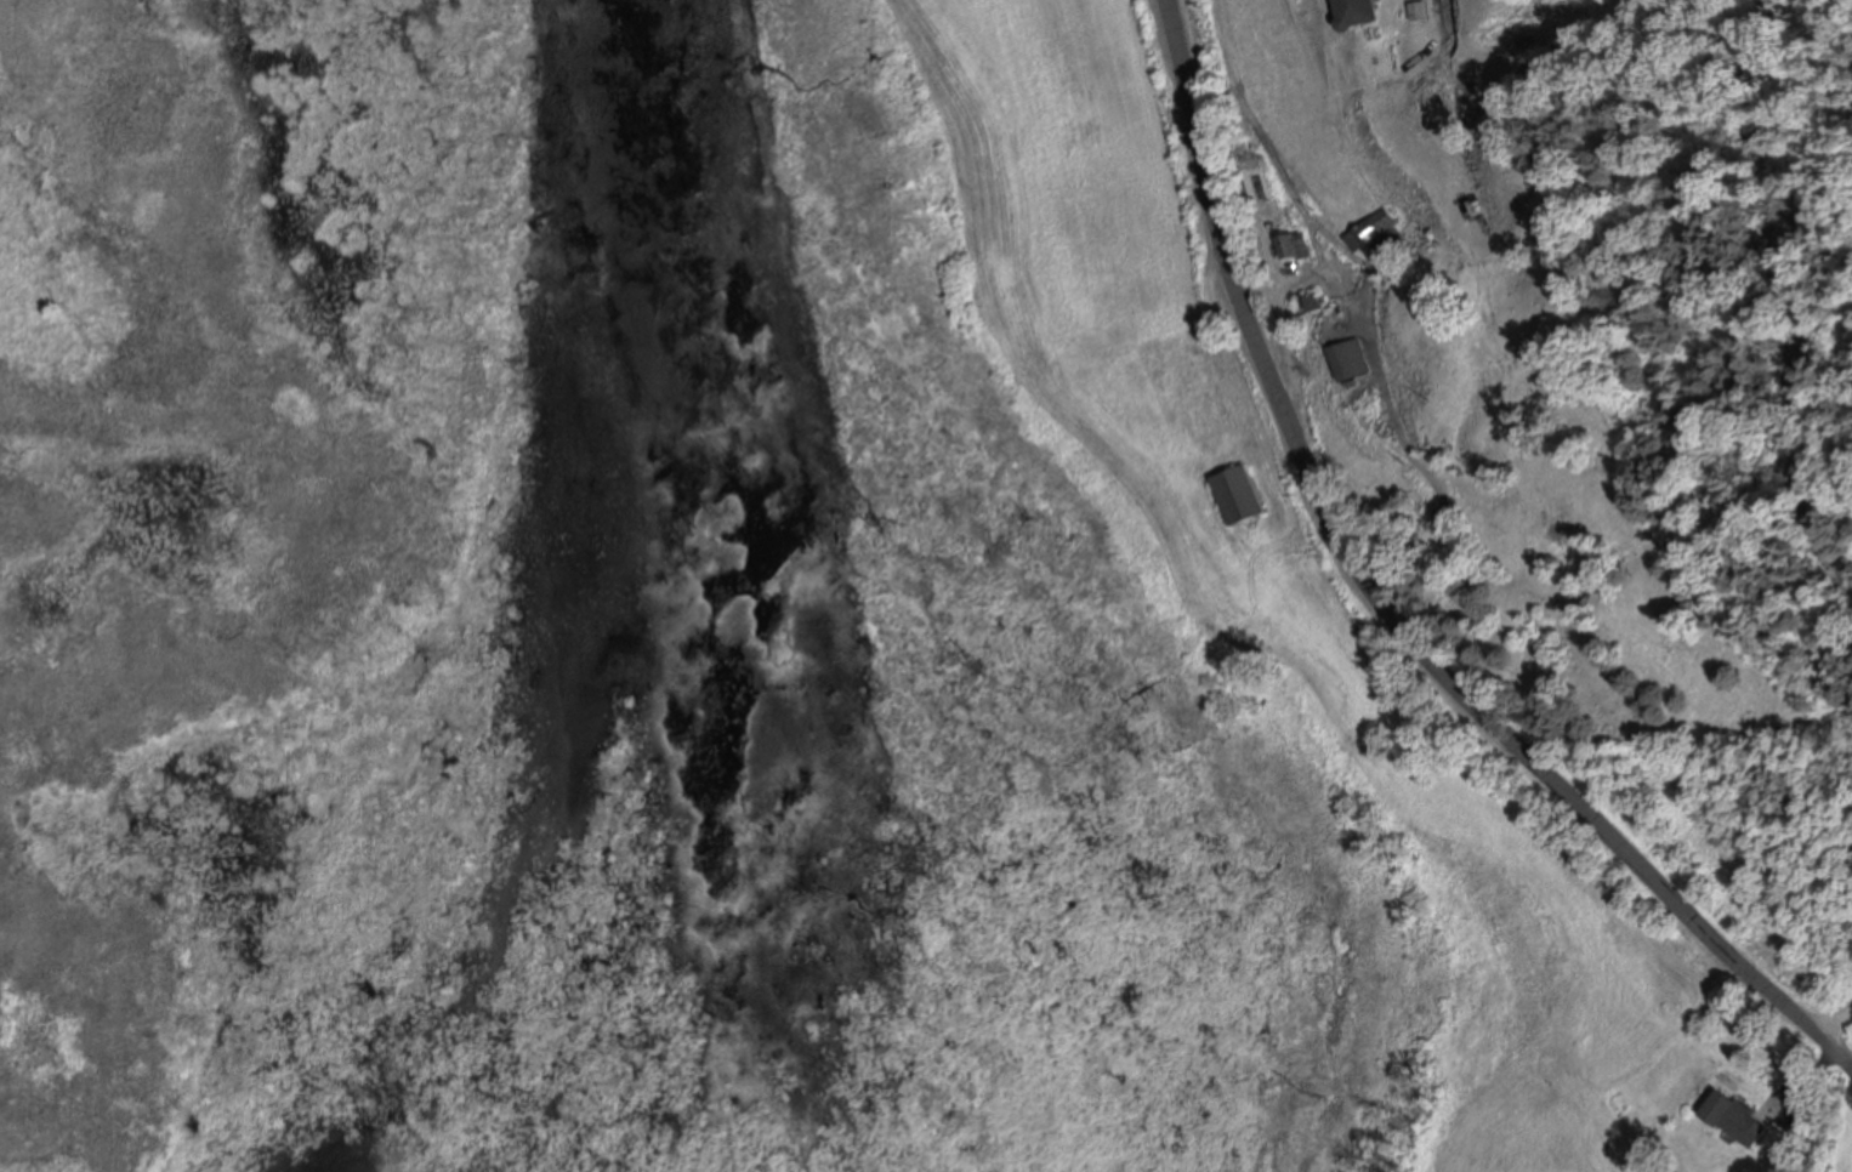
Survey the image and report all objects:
building: (1354, 11)
building: (1367, 227)
building: (1291, 245)
building: (1308, 301)
building: (1348, 358)
building: (1237, 493)
road: (1382, 636)
road: (1823, 1024)
building: (1734, 1117)

